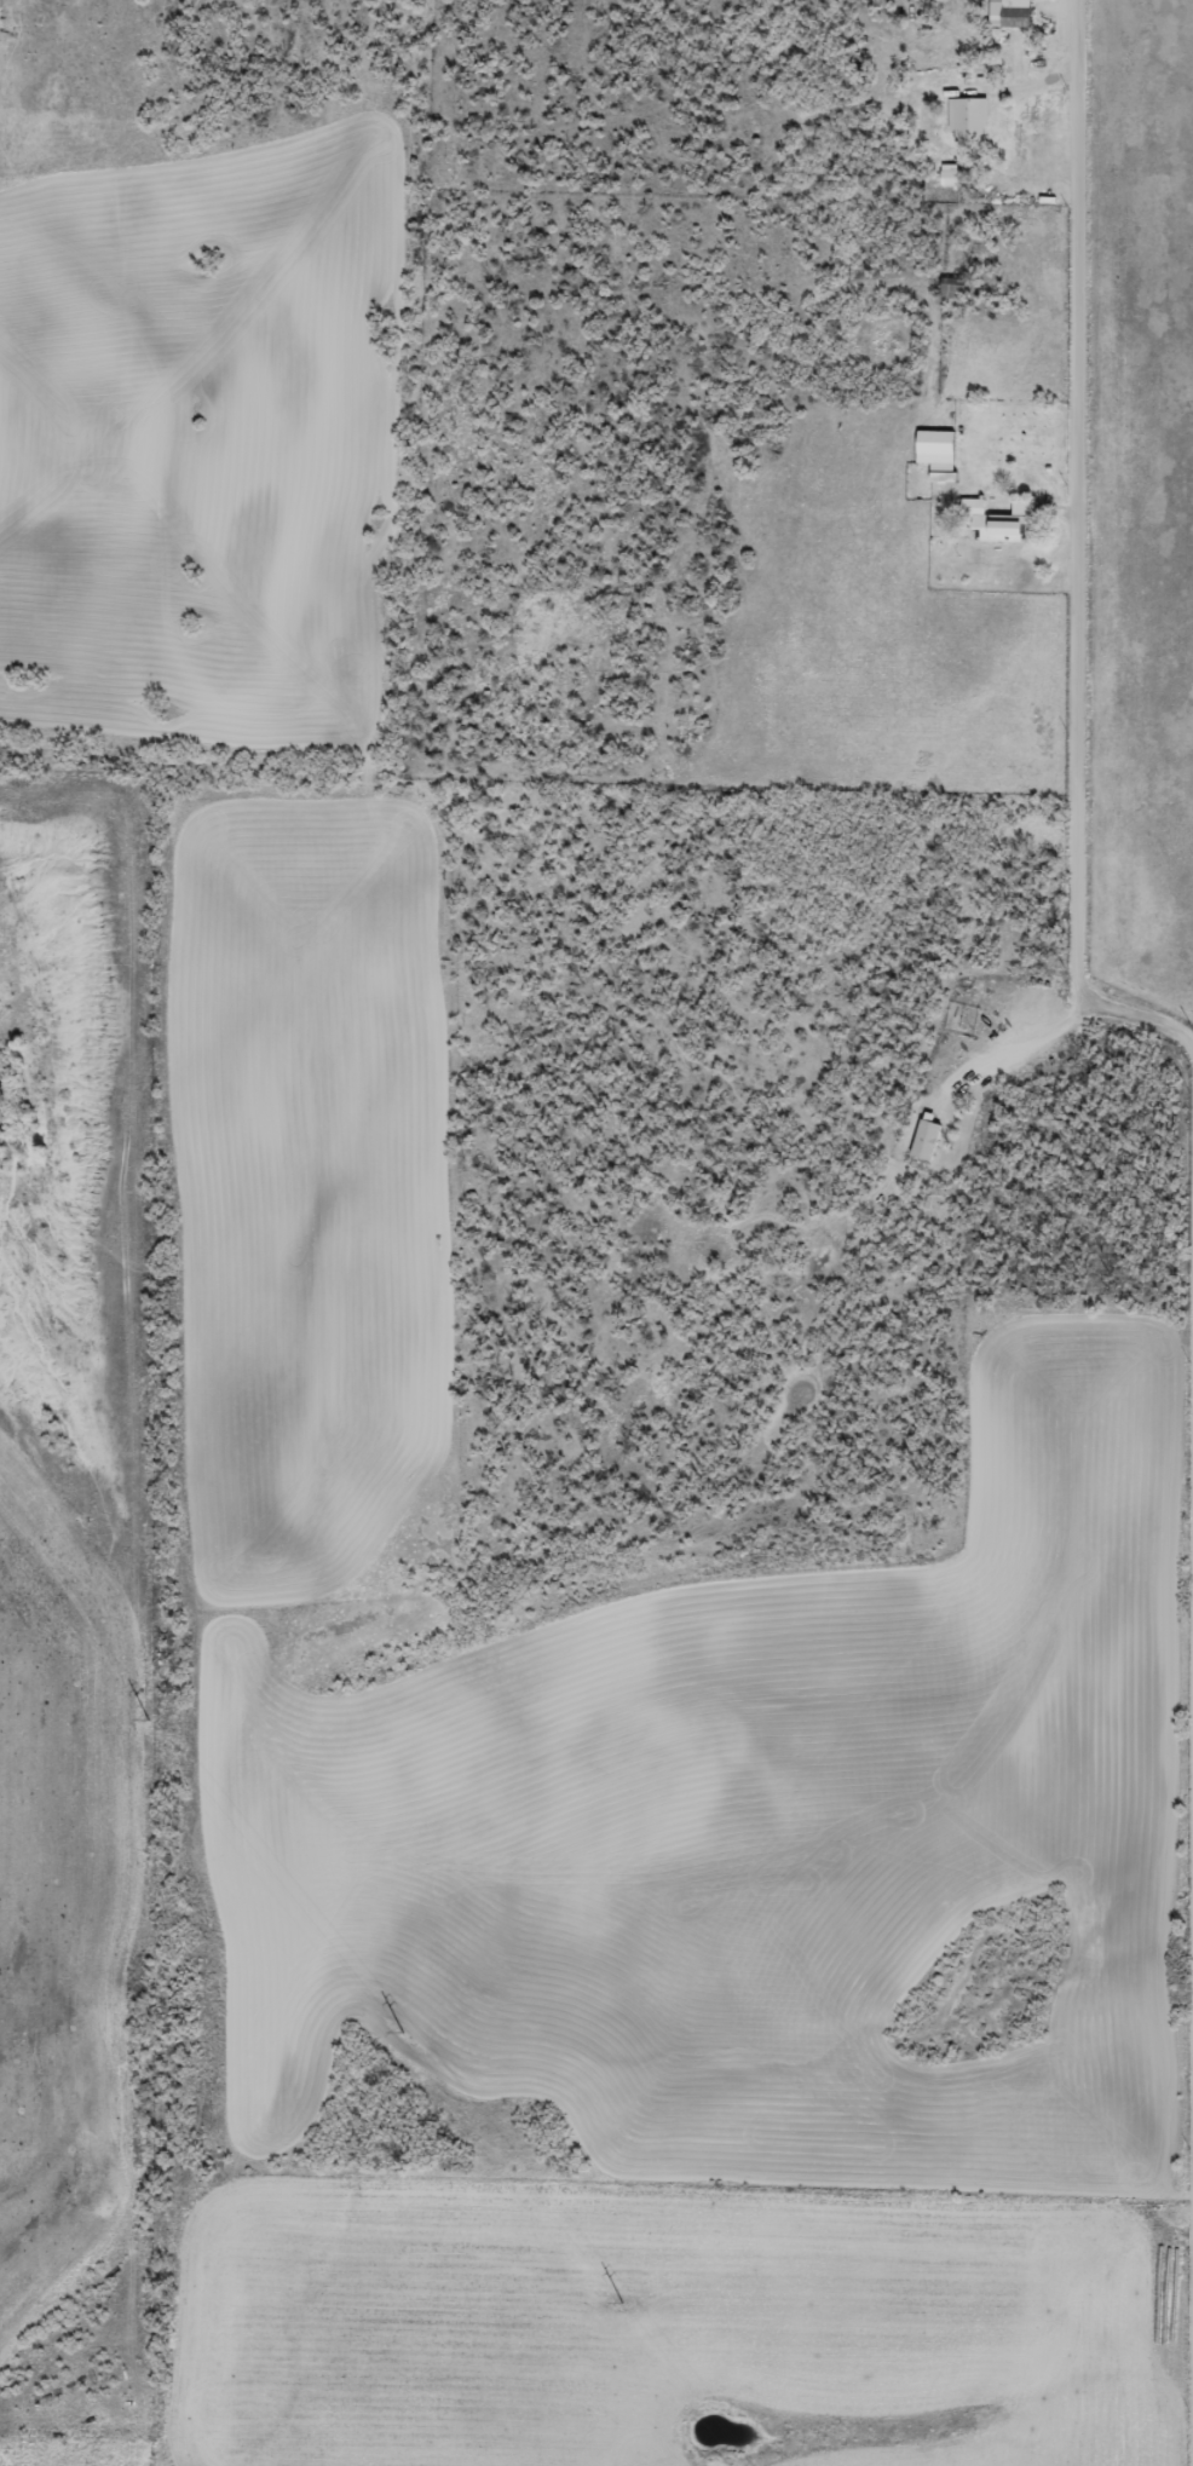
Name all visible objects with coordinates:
building: (1005, 13)
building: (963, 119)
building: (945, 174)
building: (947, 287)
building: (930, 446)
building: (935, 476)
building: (995, 519)
road: (1083, 555)
building: (921, 1137)

